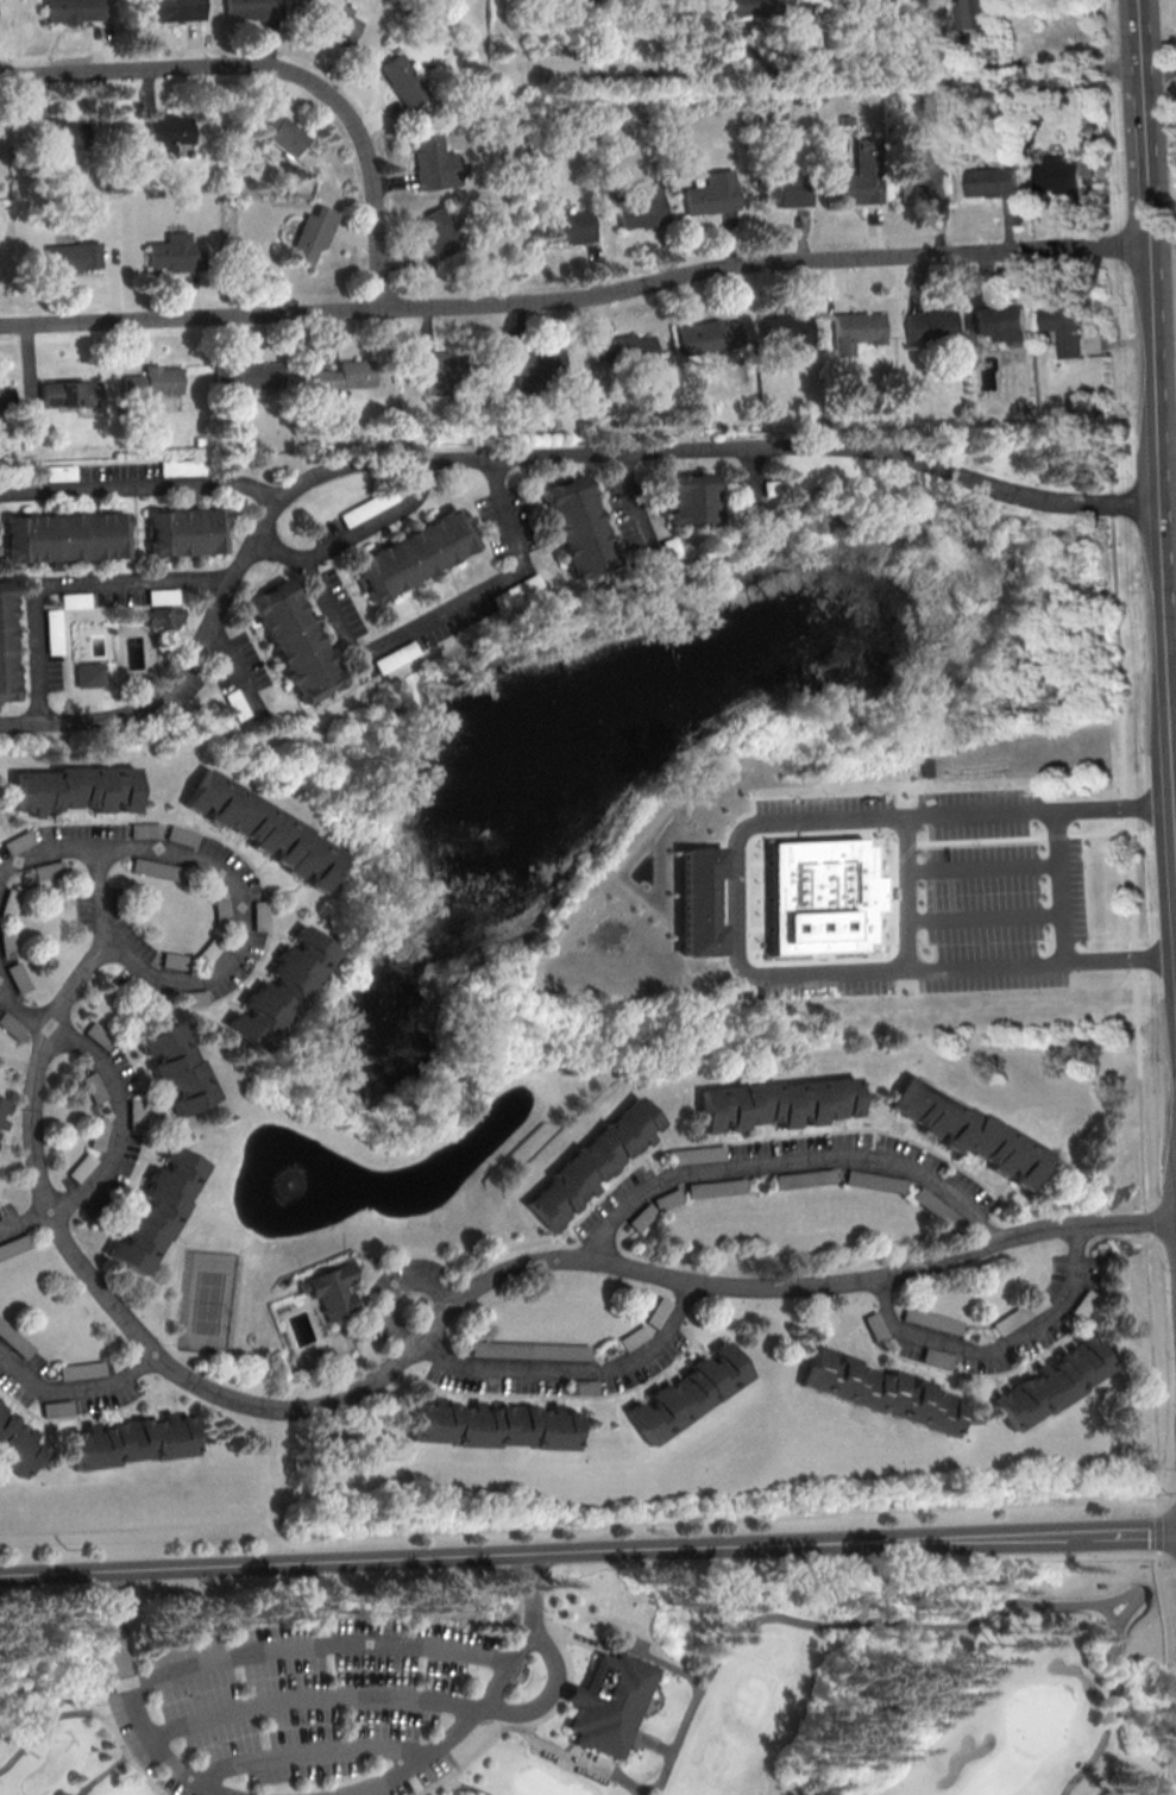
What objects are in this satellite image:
building: (182, 8)
building: (253, 8)
building: (711, 8)
building: (751, 8)
building: (74, 10)
building: (969, 12)
building: (335, 23)
road: (1158, 68)
road: (283, 71)
road: (938, 73)
building: (405, 77)
road: (1159, 94)
building: (63, 131)
building: (165, 132)
building: (284, 132)
building: (434, 163)
building: (1055, 172)
building: (929, 176)
building: (856, 180)
building: (988, 180)
building: (781, 190)
building: (710, 193)
building: (637, 203)
building: (570, 226)
building: (439, 232)
building: (312, 233)
building: (176, 252)
building: (75, 256)
road: (576, 299)
building: (999, 320)
building: (929, 324)
building: (1061, 325)
building: (854, 326)
building: (785, 328)
building: (708, 333)
building: (623, 347)
building: (535, 359)
building: (445, 371)
building: (250, 374)
building: (346, 374)
building: (150, 385)
building: (70, 393)
building: (6, 398)
road: (1157, 419)
road: (604, 453)
building: (182, 467)
road: (749, 469)
building: (59, 472)
road: (625, 484)
road: (142, 488)
building: (693, 498)
building: (369, 506)
road: (375, 520)
building: (580, 523)
building: (189, 529)
building: (68, 536)
building: (415, 556)
road: (1118, 570)
road: (68, 579)
building: (532, 582)
building: (163, 595)
building: (75, 600)
building: (165, 617)
building: (52, 622)
road: (420, 622)
building: (297, 640)
building: (8, 642)
park: (88, 655)
road: (232, 661)
building: (89, 674)
building: (237, 704)
road: (84, 721)
building: (930, 765)
building: (74, 787)
road: (911, 815)
building: (263, 828)
road: (44, 851)
building: (55, 867)
road: (1063, 873)
road: (906, 895)
building: (818, 896)
parking lot: (880, 896)
building: (698, 900)
building: (10, 903)
road: (734, 903)
building: (220, 909)
building: (259, 915)
building: (7, 942)
building: (207, 950)
building: (172, 960)
road: (1121, 960)
road: (224, 964)
road: (874, 974)
building: (17, 977)
building: (279, 987)
building: (190, 998)
building: (176, 1067)
building: (93, 1087)
building: (778, 1102)
building: (1, 1104)
road: (118, 1111)
building: (134, 1113)
building: (1, 1122)
building: (967, 1130)
building: (98, 1134)
building: (586, 1162)
road: (788, 1162)
building: (81, 1167)
building: (806, 1178)
building: (875, 1181)
building: (717, 1187)
building: (156, 1209)
road: (1149, 1278)
building: (329, 1291)
park: (208, 1303)
building: (932, 1319)
road: (426, 1326)
road: (1000, 1348)
building: (556, 1350)
road: (503, 1368)
building: (81, 1370)
building: (1049, 1383)
building: (581, 1386)
road: (73, 1389)
building: (880, 1389)
building: (687, 1393)
building: (57, 1407)
building: (493, 1424)
building: (130, 1442)
building: (17, 1444)
road: (1175, 1496)
road: (585, 1529)
road: (1134, 1531)
road: (547, 1552)
road: (1166, 1574)
road: (857, 1625)
road: (319, 1647)
road: (1169, 1653)
road: (549, 1655)
road: (664, 1665)
park: (595, 1682)
road: (314, 1699)
road: (488, 1701)
road: (131, 1703)
building: (610, 1703)
parking lot: (313, 1706)
road: (1111, 1709)
road: (43, 1728)
road: (655, 1744)
road: (310, 1753)
road: (126, 1757)
road: (577, 1759)
road: (105, 1776)
road: (453, 1784)

